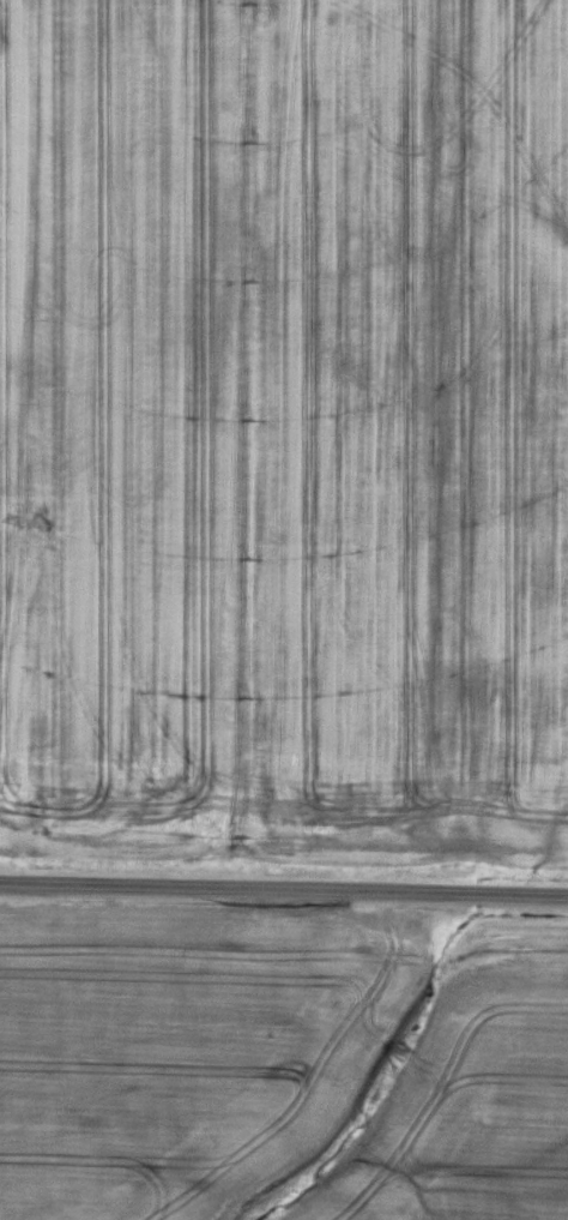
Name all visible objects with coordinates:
road: (284, 891)

